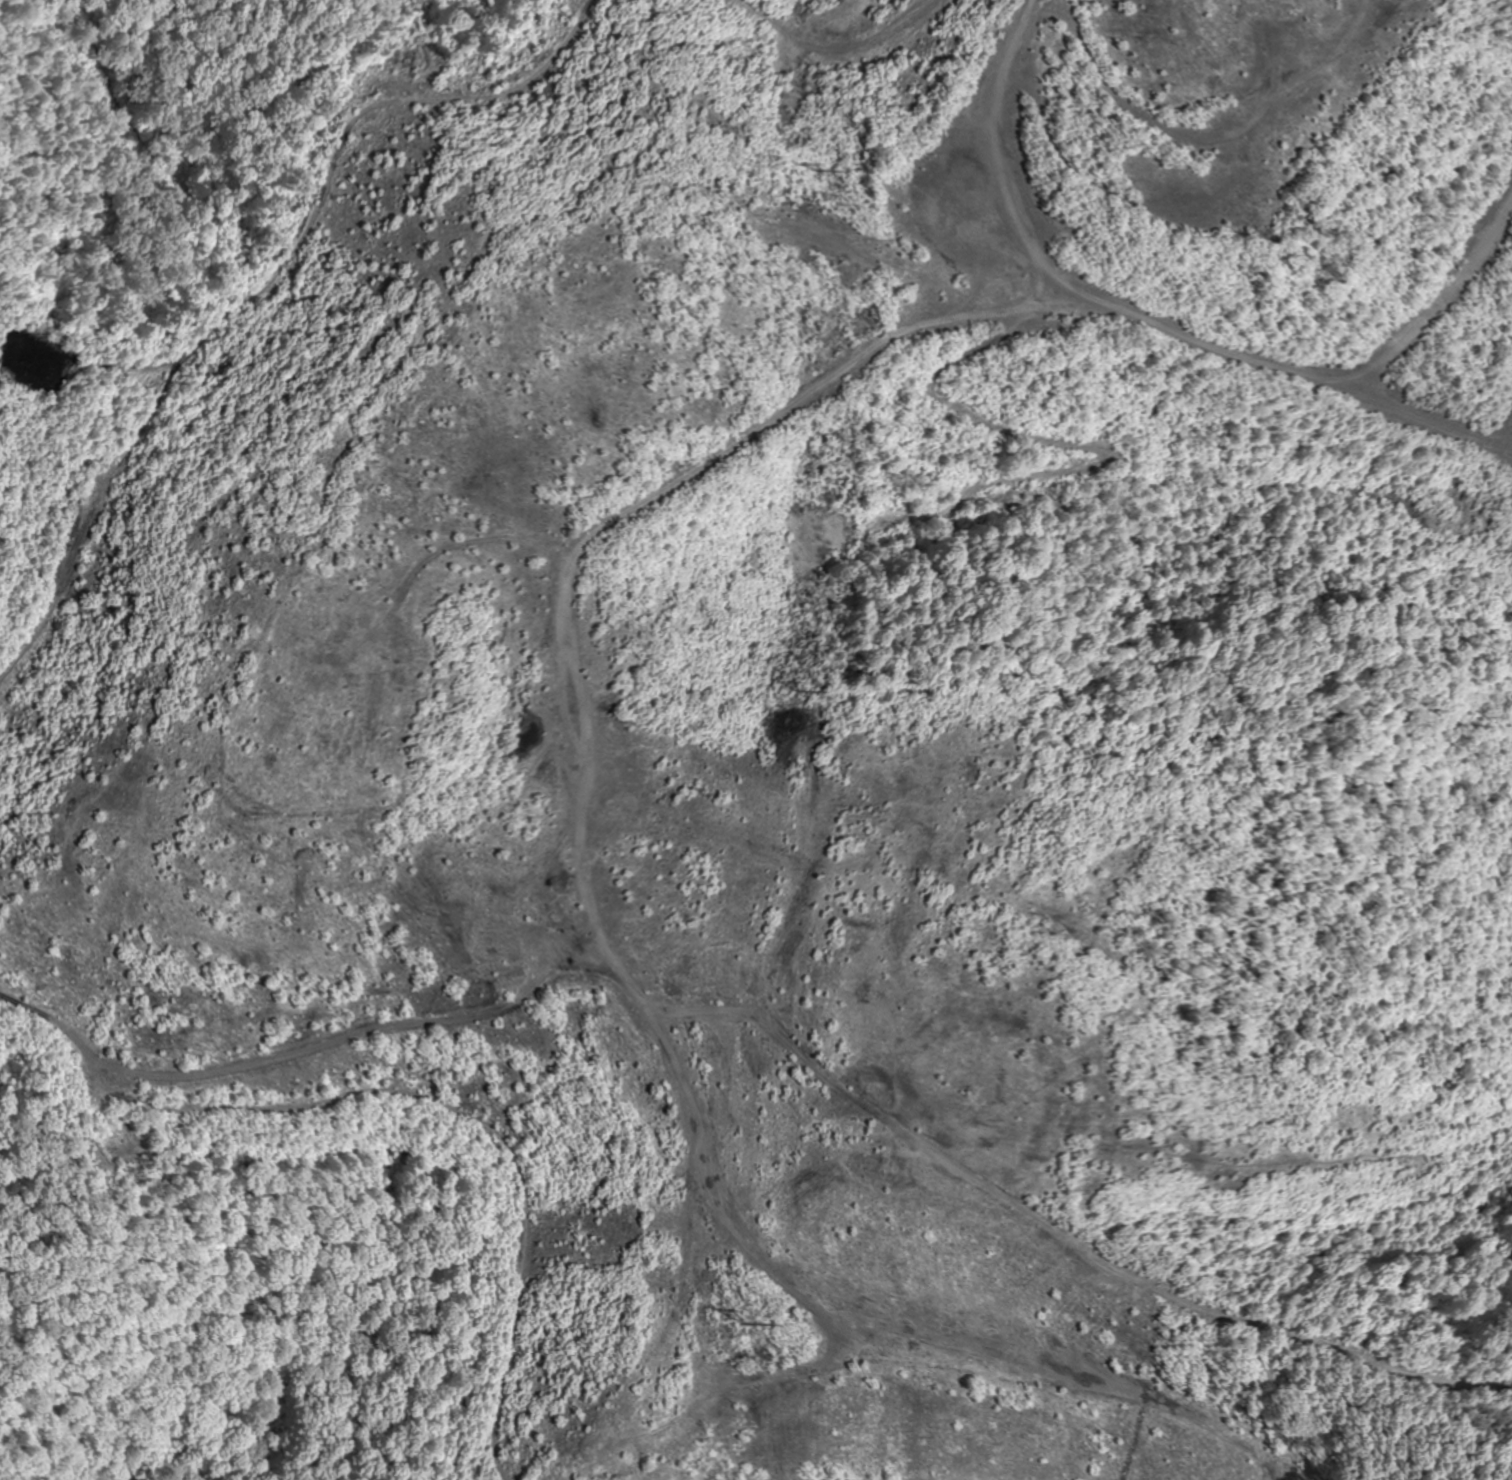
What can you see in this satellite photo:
power tower: (820, 173)
power tower: (786, 689)
power tower: (747, 1323)

